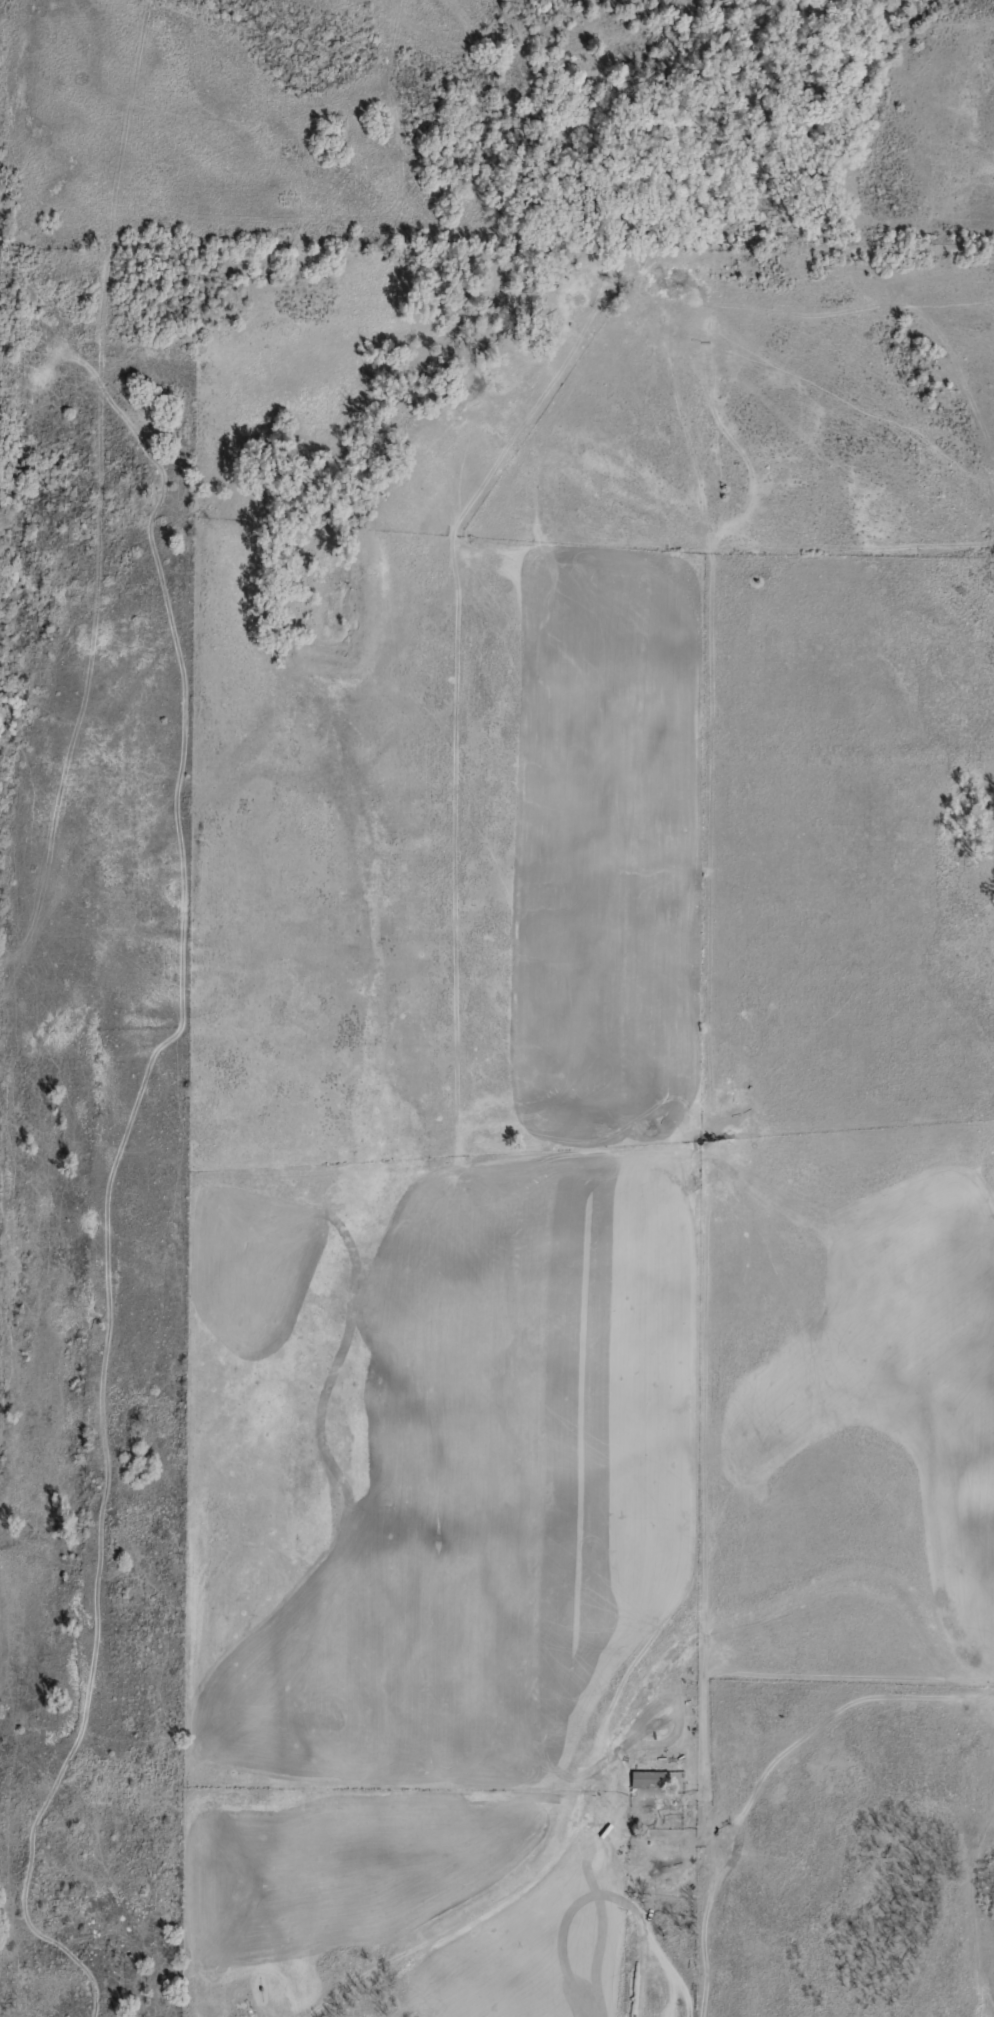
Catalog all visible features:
building: (650, 1778)
road: (487, 1907)

